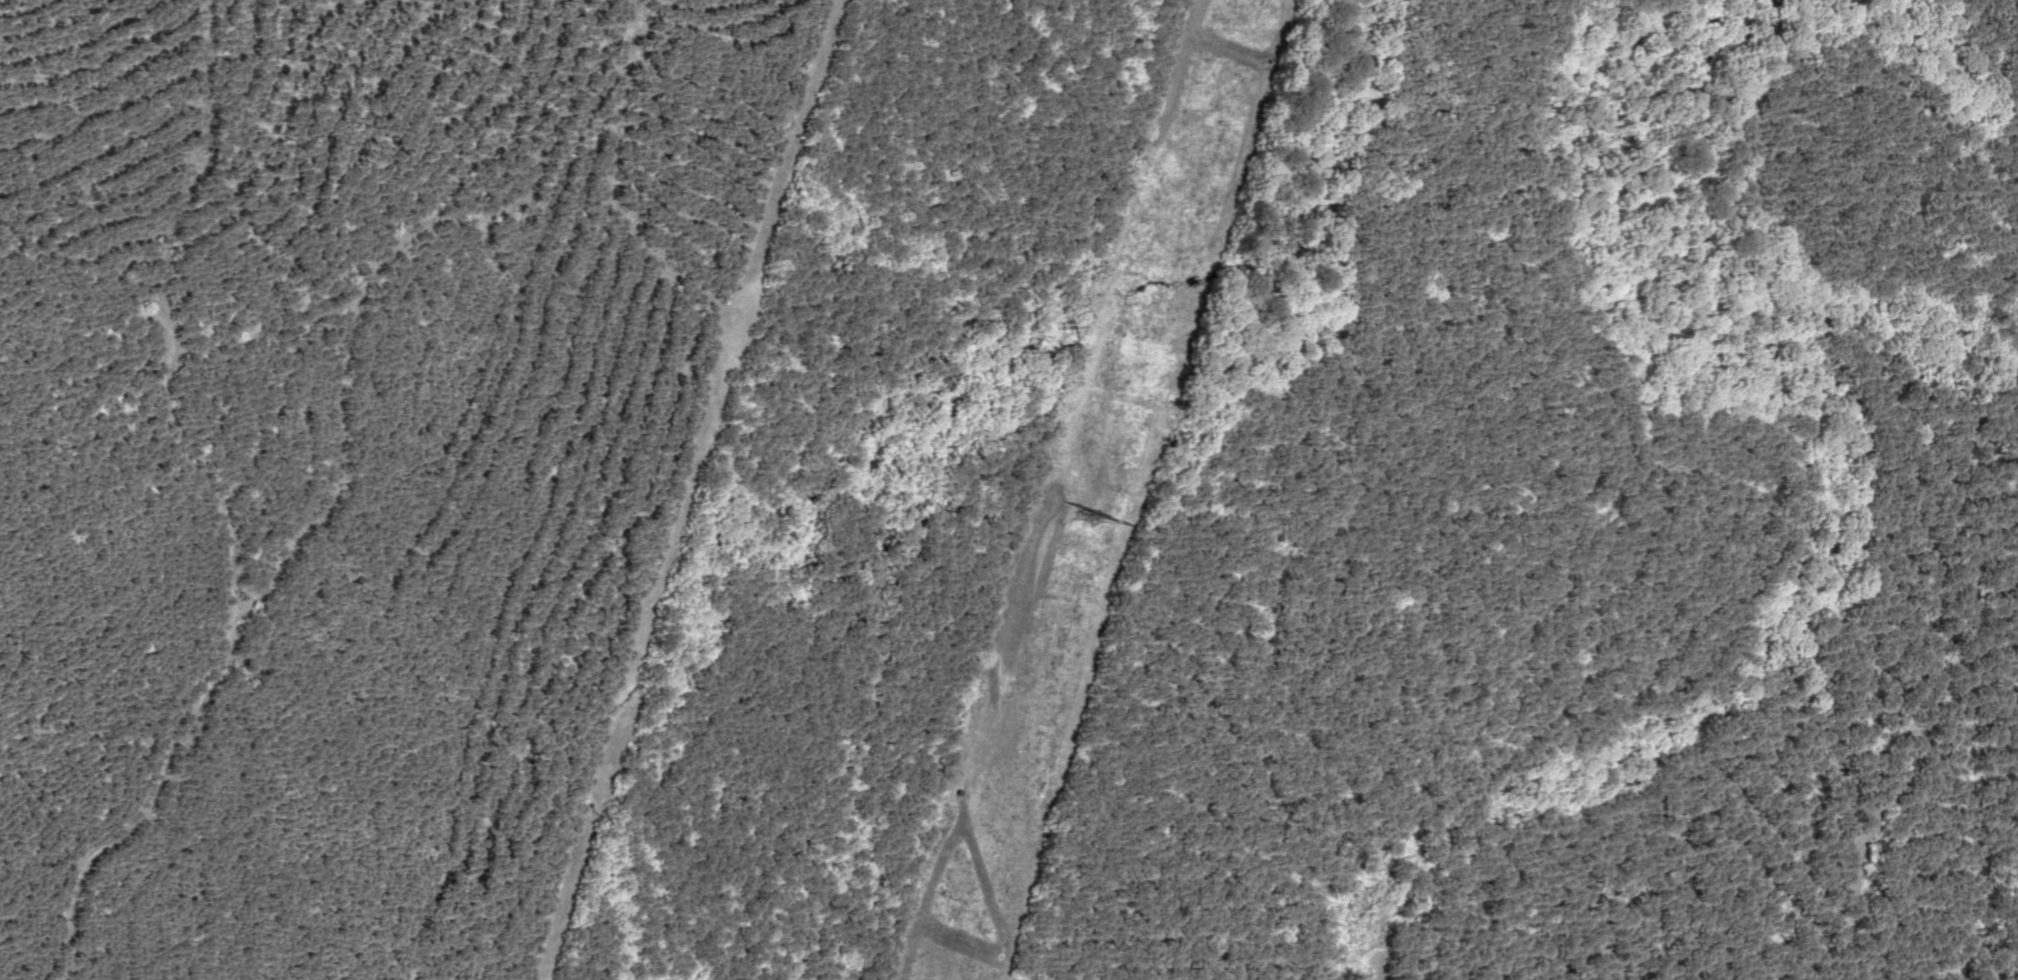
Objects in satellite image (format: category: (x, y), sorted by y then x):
road: (323, 450)
power tower: (1078, 513)

